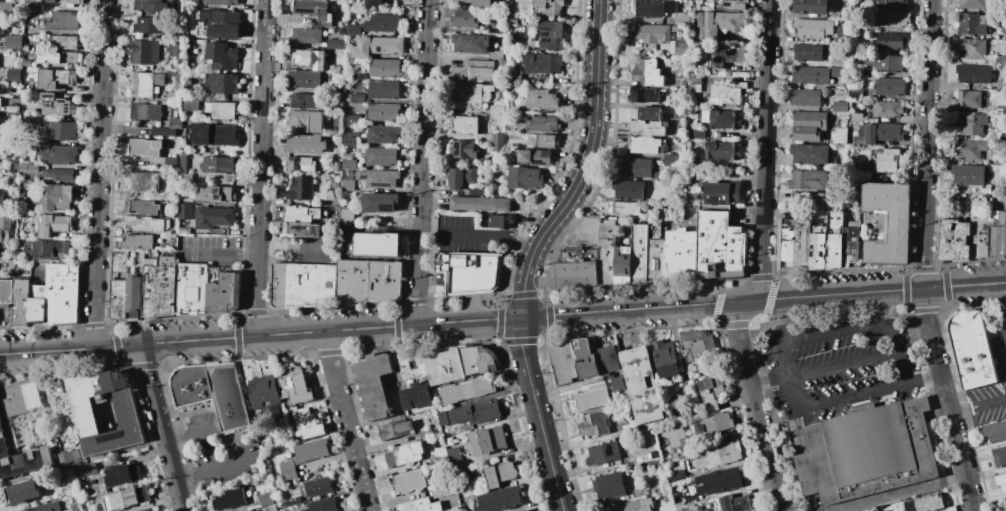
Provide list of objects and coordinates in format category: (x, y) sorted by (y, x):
building: (62, 1)
building: (221, 2)
building: (191, 3)
building: (373, 3)
building: (475, 3)
building: (734, 4)
building: (892, 4)
building: (973, 4)
building: (151, 6)
building: (811, 6)
building: (33, 7)
building: (549, 7)
building: (5, 8)
building: (653, 8)
building: (315, 11)
building: (506, 14)
building: (491, 15)
building: (463, 18)
building: (681, 19)
building: (890, 19)
building: (62, 21)
building: (722, 22)
building: (513, 23)
building: (219, 24)
building: (384, 24)
building: (973, 24)
building: (149, 25)
building: (1, 27)
building: (858, 27)
building: (354, 28)
building: (813, 28)
building: (652, 33)
building: (843, 33)
building: (551, 35)
building: (306, 36)
building: (32, 37)
building: (890, 41)
building: (13, 42)
building: (62, 42)
building: (336, 44)
building: (470, 44)
building: (376, 46)
building: (25, 47)
building: (678, 47)
building: (973, 49)
building: (174, 51)
building: (145, 52)
building: (807, 52)
building: (19, 54)
building: (342, 54)
building: (495, 55)
building: (221, 56)
building: (727, 56)
building: (57, 58)
building: (310, 59)
building: (1000, 61)
building: (26, 62)
building: (886, 62)
building: (542, 63)
building: (502, 64)
building: (384, 67)
building: (179, 69)
building: (473, 70)
building: (836, 72)
building: (866, 72)
building: (647, 73)
building: (973, 74)
building: (13, 75)
building: (810, 75)
building: (359, 76)
building: (515, 77)
building: (55, 78)
building: (304, 79)
building: (221, 83)
building: (694, 83)
building: (146, 84)
building: (1001, 84)
building: (890, 87)
building: (0, 88)
building: (176, 89)
building: (339, 90)
building: (383, 90)
building: (470, 93)
building: (725, 94)
building: (855, 94)
building: (643, 95)
building: (355, 98)
building: (806, 98)
building: (970, 99)
building: (542, 100)
building: (0, 101)
building: (190, 101)
building: (305, 101)
building: (56, 105)
building: (839, 106)
building: (886, 109)
building: (12, 110)
building: (221, 110)
building: (497, 110)
building: (999, 110)
building: (145, 112)
building: (383, 112)
building: (647, 113)
building: (856, 117)
building: (10, 119)
building: (34, 119)
building: (351, 119)
building: (724, 119)
building: (305, 121)
building: (174, 124)
building: (545, 124)
building: (971, 124)
building: (465, 125)
building: (808, 126)
road: (593, 127)
building: (649, 128)
building: (345, 129)
building: (60, 131)
building: (163, 132)
building: (878, 133)
building: (382, 134)
building: (214, 135)
building: (695, 135)
building: (838, 136)
building: (350, 139)
building: (545, 141)
building: (497, 143)
building: (305, 144)
building: (646, 145)
building: (144, 147)
rooftop solar panel: (458, 148)
building: (462, 149)
building: (968, 149)
building: (724, 151)
road: (764, 152)
building: (809, 154)
building: (61, 155)
building: (12, 156)
building: (381, 157)
building: (535, 157)
building: (885, 160)
building: (672, 161)
building: (183, 162)
road: (424, 162)
building: (169, 163)
building: (300, 164)
building: (348, 164)
building: (216, 165)
road: (260, 167)
building: (12, 168)
building: (30, 168)
building: (638, 168)
road: (97, 173)
building: (59, 174)
building: (347, 174)
building: (967, 174)
building: (462, 176)
building: (690, 176)
rooftop solar panel: (363, 177)
building: (378, 178)
building: (524, 178)
building: (186, 180)
building: (808, 180)
building: (143, 181)
rooftop solar panel: (379, 184)
building: (347, 185)
building: (334, 186)
building: (998, 187)
building: (300, 188)
building: (628, 190)
building: (476, 191)
building: (722, 193)
building: (219, 194)
building: (2, 197)
building: (56, 197)
building: (809, 199)
building: (330, 201)
building: (379, 202)
building: (480, 204)
building: (142, 207)
building: (173, 208)
building: (624, 208)
building: (185, 211)
building: (301, 214)
building: (663, 214)
building: (346, 215)
building: (213, 217)
building: (501, 222)
building: (145, 224)
building: (54, 225)
building: (898, 226)
building: (5, 228)
building: (303, 230)
building: (996, 233)
building: (1005, 236)
building: (979, 237)
road: (490, 238)
building: (954, 239)
building: (137, 241)
building: (172, 242)
building: (827, 243)
building: (379, 245)
building: (719, 245)
building: (793, 245)
road: (293, 246)
building: (164, 247)
building: (643, 247)
building: (850, 247)
building: (48, 250)
parking lot: (210, 251)
building: (607, 251)
building: (682, 254)
road: (220, 255)
road: (923, 258)
building: (657, 260)
building: (119, 262)
building: (150, 262)
building: (624, 265)
building: (578, 268)
building: (469, 273)
road: (524, 277)
building: (368, 281)
building: (303, 285)
building: (159, 288)
building: (191, 288)
building: (6, 292)
building: (225, 293)
building: (62, 294)
building: (134, 297)
building: (118, 299)
road: (763, 299)
building: (21, 302)
road: (1001, 302)
building: (37, 304)
road: (875, 309)
traffic signals: (521, 318)
road: (790, 318)
fountain: (1, 321)
road: (834, 333)
road: (260, 335)
building: (696, 343)
parking lot: (998, 345)
building: (971, 350)
road: (899, 353)
building: (666, 358)
building: (487, 359)
building: (586, 359)
road: (783, 359)
building: (608, 360)
building: (469, 361)
building: (564, 362)
building: (443, 365)
road: (843, 365)
parking lot: (840, 367)
building: (414, 380)
road: (926, 380)
road: (770, 384)
building: (295, 385)
building: (373, 385)
building: (643, 385)
building: (266, 391)
building: (468, 391)
building: (213, 392)
building: (29, 393)
building: (711, 393)
building: (11, 398)
building: (591, 398)
road: (839, 401)
road: (756, 404)
road: (861, 407)
road: (978, 407)
building: (480, 412)
building: (105, 413)
road: (537, 414)
road: (347, 421)
building: (720, 422)
building: (307, 423)
building: (596, 424)
road: (162, 427)
building: (448, 428)
building: (395, 429)
building: (699, 430)
building: (995, 431)
building: (425, 433)
building: (675, 437)
rooftop solar panel: (110, 439)
building: (488, 440)
road: (177, 441)
building: (668, 445)
building: (312, 450)
road: (235, 451)
parking lot: (221, 452)
building: (604, 453)
building: (867, 453)
building: (19, 454)
building: (405, 454)
building: (442, 455)
building: (455, 455)
building: (718, 455)
building: (999, 456)
building: (643, 457)
building: (68, 458)
building: (87, 470)
building: (288, 471)
building: (122, 474)
building: (499, 474)
building: (676, 475)
road: (186, 477)
building: (718, 481)
building: (409, 482)
building: (1001, 482)
building: (610, 485)
building: (319, 486)
building: (63, 491)
building: (21, 492)
building: (442, 492)
building: (638, 493)
building: (75, 497)
building: (126, 498)
building: (266, 498)
building: (228, 499)
building: (499, 499)
building: (291, 501)
building: (734, 503)
building: (924, 503)
building: (1004, 503)
building: (323, 504)
building: (417, 505)
building: (628, 506)
building: (38, 508)
building: (148, 510)
building: (151, 510)
building: (523, 510)

